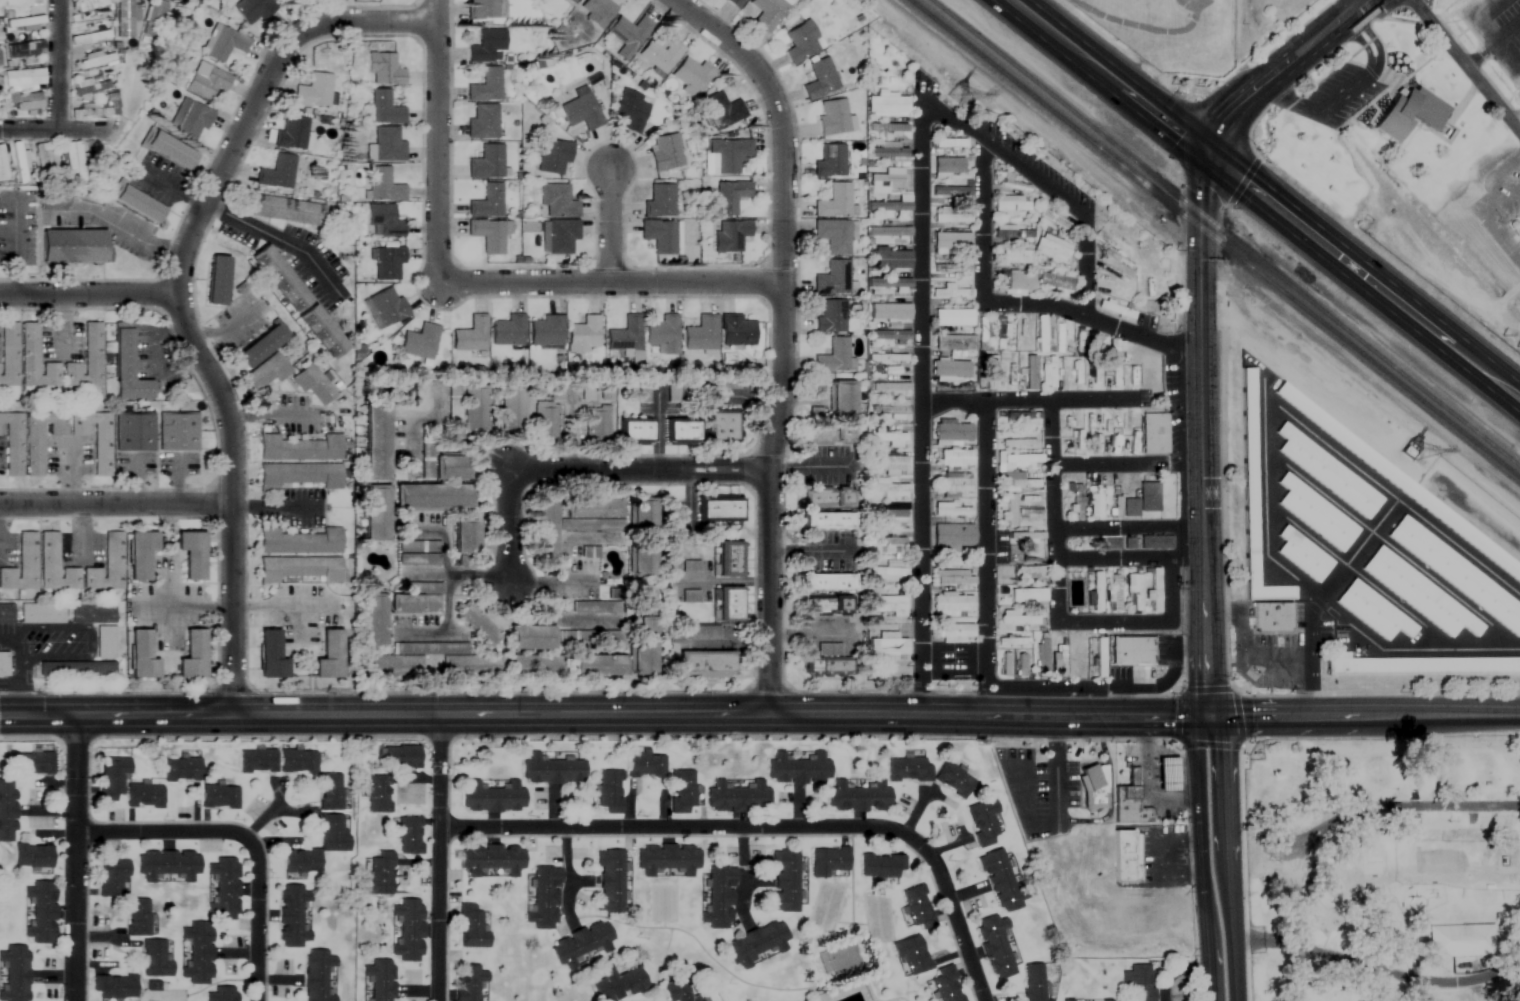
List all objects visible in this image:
building: (21, 2)
building: (734, 3)
building: (90, 8)
building: (483, 9)
building: (252, 10)
building: (598, 12)
building: (768, 13)
building: (124, 19)
building: (155, 19)
building: (24, 24)
road: (1475, 25)
building: (629, 35)
building: (801, 42)
building: (224, 44)
building: (488, 47)
building: (24, 48)
road: (1493, 52)
building: (661, 55)
road: (57, 64)
road: (1464, 67)
road: (1278, 68)
building: (383, 70)
building: (22, 73)
building: (692, 75)
building: (820, 80)
building: (206, 82)
power tower: (963, 85)
building: (90, 86)
building: (486, 87)
building: (314, 92)
building: (24, 104)
building: (887, 105)
building: (384, 109)
building: (632, 110)
building: (88, 111)
building: (722, 111)
building: (581, 112)
building: (1408, 113)
building: (833, 118)
building: (189, 120)
building: (483, 123)
road: (51, 129)
building: (888, 129)
building: (292, 133)
road: (438, 141)
building: (950, 144)
building: (388, 145)
building: (168, 150)
traffic signals: (1204, 150)
building: (665, 153)
building: (891, 154)
building: (729, 155)
building: (553, 157)
building: (44, 161)
building: (17, 162)
building: (72, 162)
building: (831, 162)
building: (487, 163)
building: (2, 166)
building: (948, 167)
road: (1227, 169)
building: (277, 173)
building: (886, 182)
building: (383, 186)
building: (1014, 186)
road: (175, 190)
building: (953, 194)
building: (730, 197)
building: (557, 201)
building: (659, 202)
building: (835, 202)
building: (487, 203)
building: (138, 204)
building: (891, 206)
building: (285, 207)
building: (1011, 207)
building: (951, 219)
building: (1519, 220)
road: (613, 221)
building: (1055, 221)
building: (383, 222)
road: (120, 232)
building: (888, 232)
building: (1011, 233)
railway: (1224, 235)
building: (488, 236)
building: (660, 236)
building: (730, 236)
building: (833, 236)
building: (561, 237)
railway: (1213, 239)
road: (279, 240)
building: (951, 243)
building: (74, 244)
building: (1051, 250)
road: (922, 256)
building: (1015, 257)
building: (891, 259)
building: (386, 263)
building: (1117, 265)
building: (951, 268)
building: (280, 276)
building: (219, 277)
building: (833, 279)
building: (1055, 282)
road: (612, 283)
building: (889, 283)
building: (1019, 283)
building: (1115, 289)
building: (952, 292)
road: (90, 296)
road: (180, 296)
road: (1016, 302)
building: (384, 308)
building: (1115, 309)
building: (890, 312)
building: (830, 317)
building: (953, 318)
building: (1003, 328)
building: (323, 329)
building: (508, 331)
building: (546, 331)
building: (737, 331)
building: (982, 333)
building: (701, 334)
road: (785, 334)
building: (1040, 334)
building: (583, 335)
building: (662, 335)
building: (470, 336)
building: (625, 336)
building: (889, 336)
building: (1059, 339)
building: (419, 342)
building: (953, 343)
building: (257, 344)
building: (1114, 352)
building: (10, 354)
road: (1484, 355)
building: (833, 357)
building: (37, 359)
building: (88, 359)
building: (889, 360)
building: (128, 364)
building: (950, 369)
building: (991, 369)
building: (1146, 370)
building: (1030, 373)
building: (1116, 373)
building: (265, 374)
road: (1478, 377)
building: (314, 386)
building: (889, 388)
building: (585, 391)
building: (605, 393)
building: (842, 398)
road: (1028, 400)
building: (890, 409)
building: (475, 412)
building: (511, 412)
building: (1027, 418)
road: (270, 419)
building: (545, 420)
building: (592, 425)
building: (722, 427)
building: (136, 431)
building: (180, 431)
building: (633, 432)
building: (680, 432)
building: (952, 432)
road: (1201, 432)
road: (453, 434)
building: (1154, 434)
building: (819, 435)
building: (887, 435)
road: (409, 436)
building: (843, 436)
building: (42, 438)
building: (97, 438)
building: (12, 442)
building: (375, 442)
building: (1013, 444)
building: (301, 449)
power tower: (1415, 454)
building: (956, 458)
building: (1019, 460)
road: (1127, 463)
building: (890, 464)
building: (1327, 470)
building: (451, 471)
road: (639, 471)
building: (301, 476)
building: (1399, 481)
building: (1018, 482)
building: (955, 485)
building: (885, 488)
building: (827, 497)
building: (1253, 498)
building: (433, 499)
road: (117, 503)
building: (1097, 503)
building: (1142, 503)
road: (277, 504)
building: (719, 509)
building: (592, 510)
building: (950, 510)
building: (1011, 512)
building: (1315, 512)
building: (375, 515)
building: (889, 516)
building: (641, 518)
building: (828, 521)
road: (509, 527)
road: (1129, 527)
building: (549, 529)
building: (953, 536)
road: (564, 537)
building: (1026, 537)
building: (466, 538)
building: (301, 543)
building: (1155, 543)
building: (1108, 544)
building: (887, 546)
building: (418, 553)
building: (1302, 553)
building: (141, 555)
building: (192, 555)
road: (987, 557)
building: (730, 559)
road: (1130, 560)
building: (641, 561)
building: (23, 566)
building: (56, 566)
building: (108, 566)
building: (301, 570)
building: (1031, 572)
road: (461, 573)
building: (888, 574)
building: (1457, 574)
building: (955, 578)
road: (550, 580)
building: (827, 582)
building: (1154, 590)
building: (1115, 593)
building: (1135, 593)
building: (1418, 593)
road: (1056, 594)
building: (1028, 595)
building: (644, 600)
building: (887, 602)
building: (952, 603)
road: (183, 604)
building: (414, 604)
building: (730, 604)
building: (825, 606)
road: (279, 609)
building: (1372, 610)
building: (7, 615)
building: (43, 615)
building: (95, 615)
building: (1270, 617)
building: (1016, 619)
building: (373, 620)
building: (478, 625)
building: (704, 631)
building: (953, 631)
road: (20, 637)
building: (531, 640)
building: (1012, 641)
road: (90, 643)
building: (108, 644)
road: (1240, 644)
building: (887, 645)
building: (641, 649)
building: (1133, 650)
building: (1042, 654)
building: (143, 656)
building: (194, 656)
building: (271, 657)
building: (331, 657)
building: (1099, 657)
building: (1058, 659)
building: (827, 662)
building: (1079, 662)
building: (706, 664)
building: (1024, 664)
building: (5, 666)
building: (1419, 666)
building: (392, 667)
building: (469, 667)
building: (535, 667)
building: (593, 668)
road: (20, 670)
building: (78, 671)
road: (1297, 686)
road: (1363, 713)
road: (585, 714)
road: (1189, 715)
traffic signals: (1207, 715)
road: (1214, 733)
building: (400, 757)
building: (257, 761)
building: (298, 761)
building: (646, 765)
building: (46, 766)
building: (798, 769)
building: (909, 769)
building: (553, 771)
road: (1056, 771)
road: (1108, 773)
gas station: (1166, 774)
building: (1167, 774)
building: (112, 777)
building: (125, 777)
building: (190, 777)
building: (953, 779)
building: (1095, 787)
building: (330, 791)
building: (609, 791)
building: (682, 792)
building: (378, 794)
building: (492, 797)
building: (738, 797)
building: (858, 797)
building: (154, 798)
building: (228, 798)
building: (1129, 806)
road: (1398, 807)
building: (14, 814)
road: (1081, 818)
building: (983, 822)
road: (767, 827)
building: (409, 835)
road: (244, 837)
building: (333, 842)
road: (1279, 851)
building: (1125, 857)
road: (1199, 857)
road: (77, 858)
road: (440, 858)
building: (667, 858)
building: (43, 859)
building: (491, 859)
building: (829, 860)
building: (167, 865)
building: (881, 866)
park: (1381, 868)
building: (379, 874)
road: (1225, 876)
building: (112, 878)
building: (609, 881)
building: (784, 881)
building: (1000, 881)
building: (225, 887)
building: (544, 899)
building: (719, 899)
building: (917, 905)
building: (53, 910)
building: (291, 915)
building: (138, 917)
building: (471, 928)
road: (1296, 928)
building: (408, 929)
building: (1466, 940)
building: (582, 943)
building: (755, 943)
building: (995, 946)
building: (197, 953)
building: (911, 954)
building: (155, 960)
road: (1377, 969)
building: (26, 974)
building: (317, 975)
building: (379, 979)
building: (468, 982)
building: (1034, 982)
building: (1138, 982)
building: (618, 983)
building: (946, 984)
building: (114, 987)
building: (680, 990)
building: (221, 994)
building: (1067, 1000)
building: (1104, 1000)

